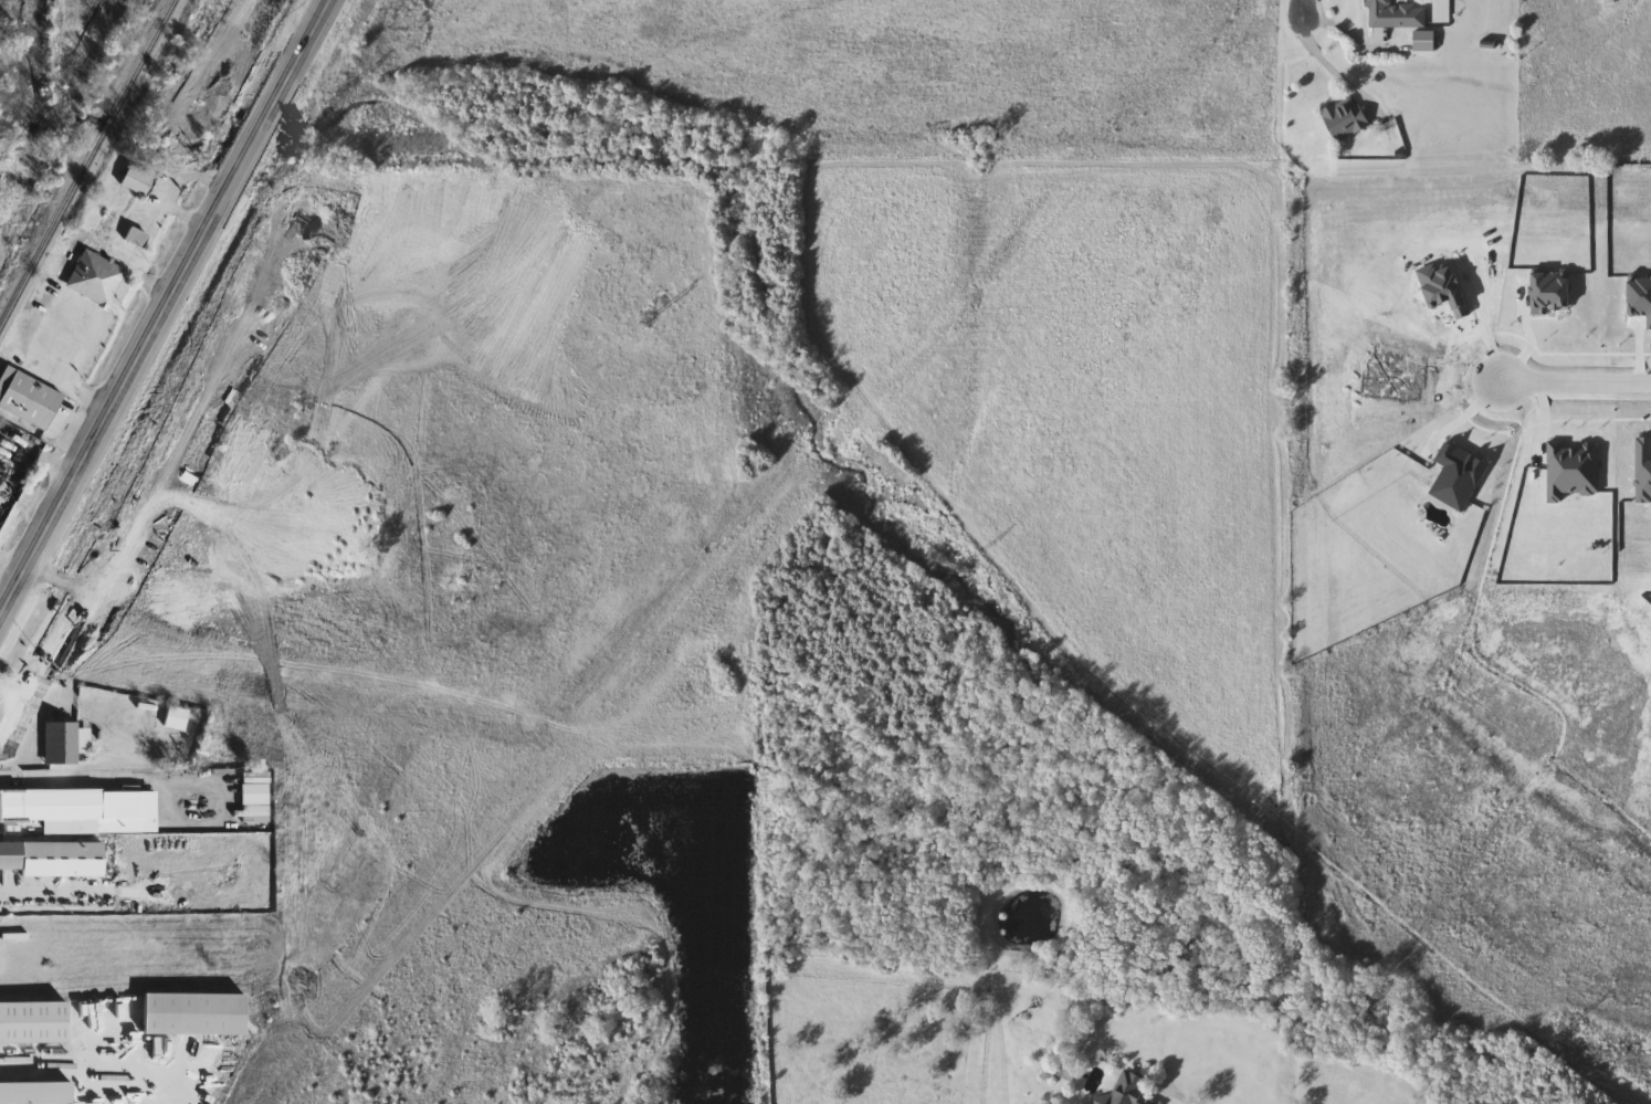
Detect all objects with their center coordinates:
road: (1304, 8)
building: (1384, 14)
road: (1332, 72)
power tower: (338, 97)
building: (1346, 119)
railway: (88, 162)
building: (138, 180)
railway: (132, 252)
building: (99, 278)
road: (164, 309)
power tower: (655, 322)
road: (1580, 380)
building: (28, 398)
road: (1469, 414)
power tower: (972, 564)
road: (28, 717)
building: (177, 717)
building: (63, 742)
power tower: (1275, 796)
building: (60, 803)
road: (46, 894)
building: (194, 1013)
building: (33, 1022)
power tower: (1569, 1023)
building: (1129, 1089)
road: (1169, 1090)
building: (35, 1093)
building: (1100, 1103)

